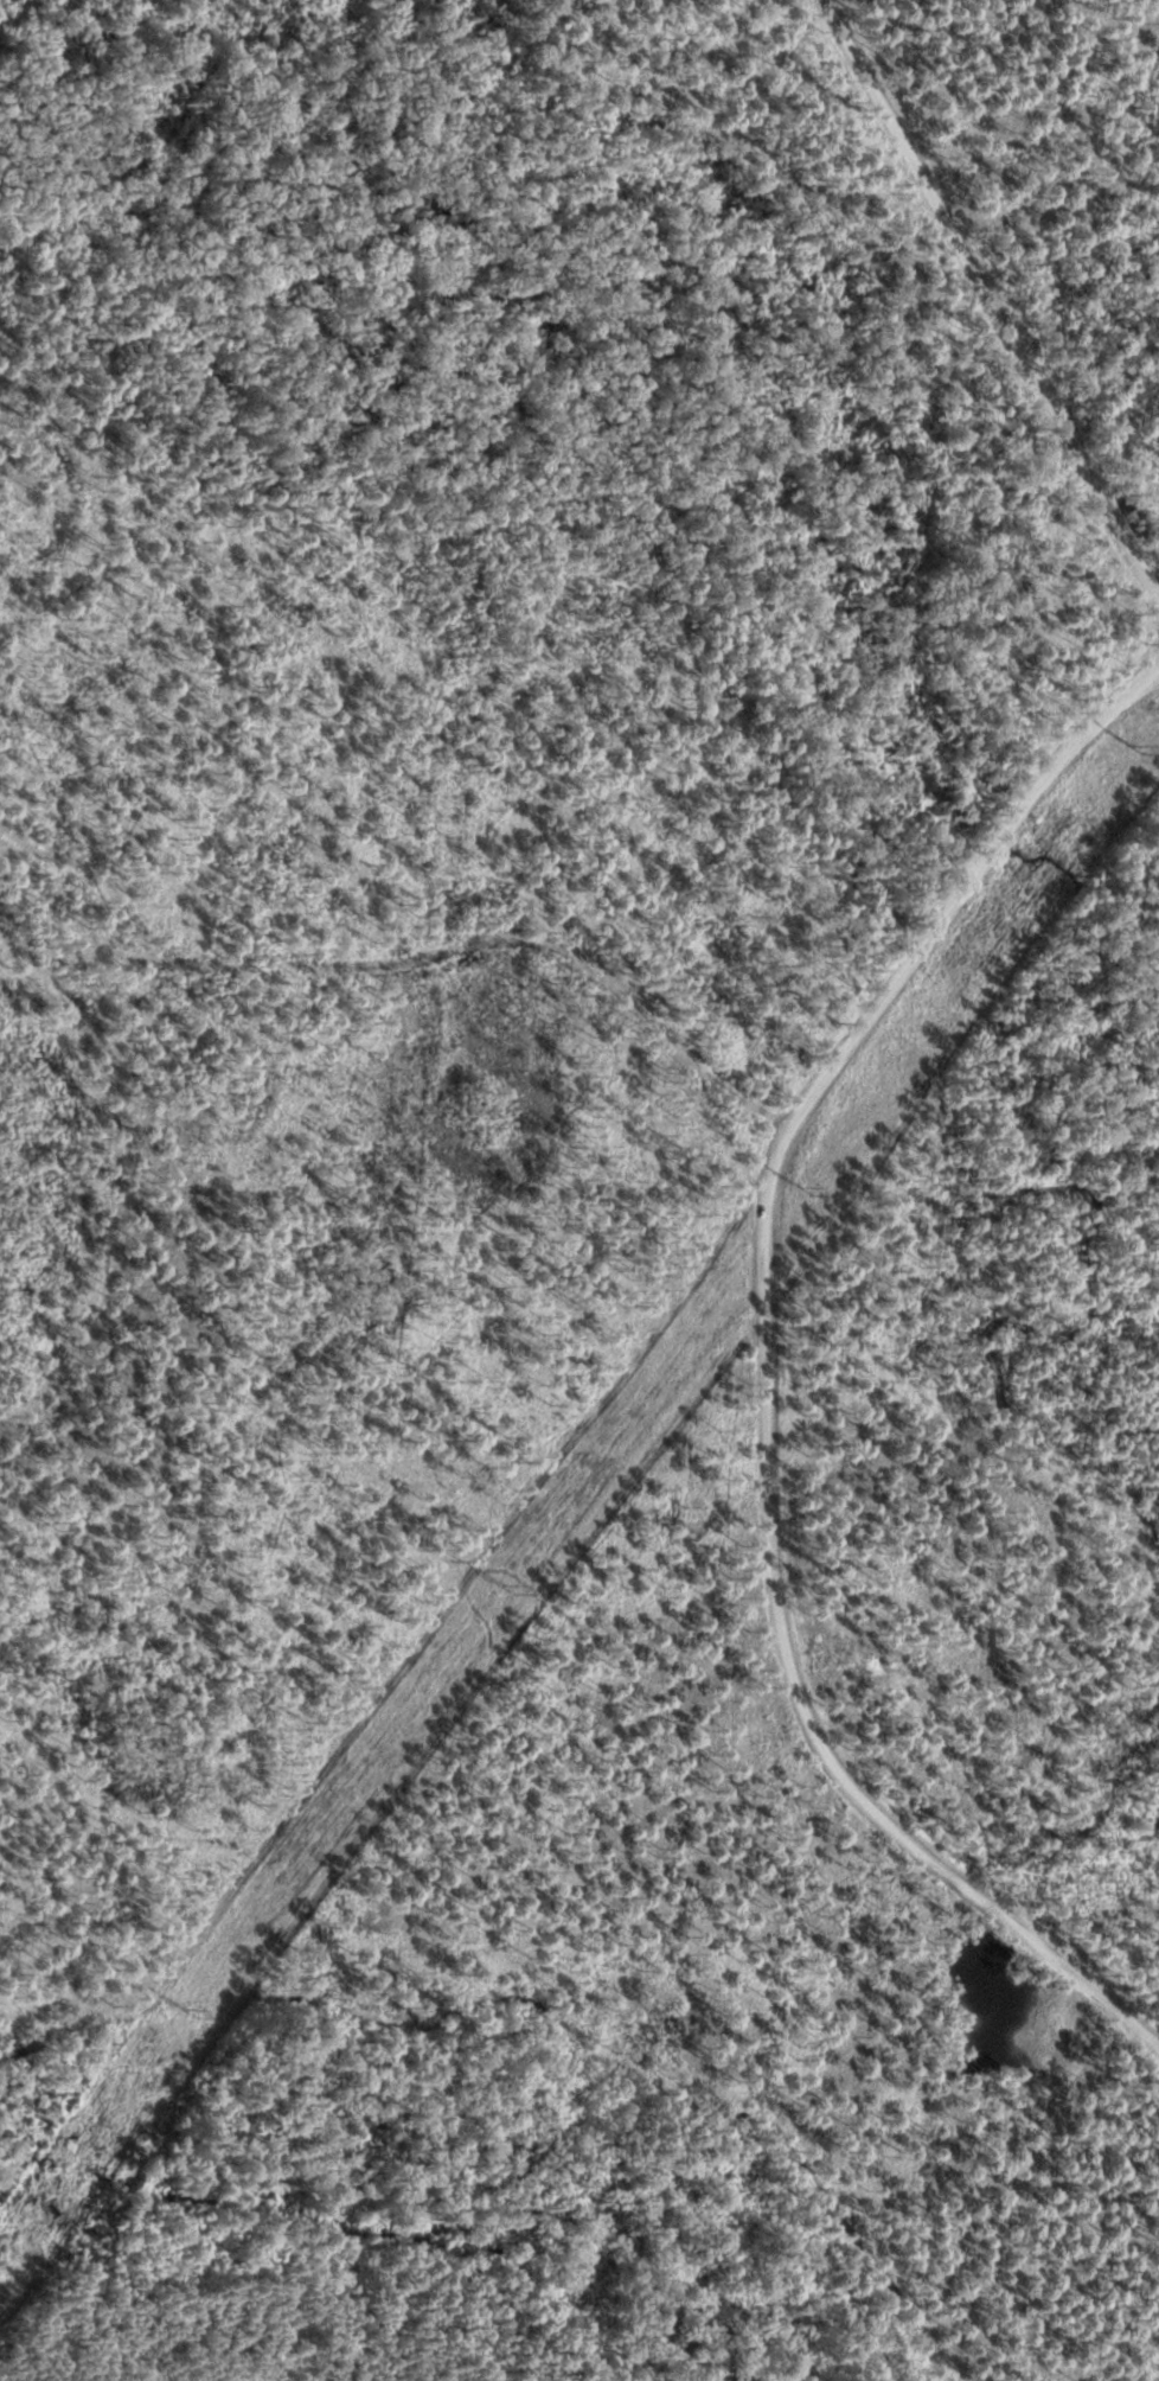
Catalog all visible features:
road: (987, 296)
power tower: (1140, 747)
power tower: (811, 1189)
road: (766, 1365)
power tower: (508, 1589)
power tower: (194, 2012)
road: (1046, 2021)

